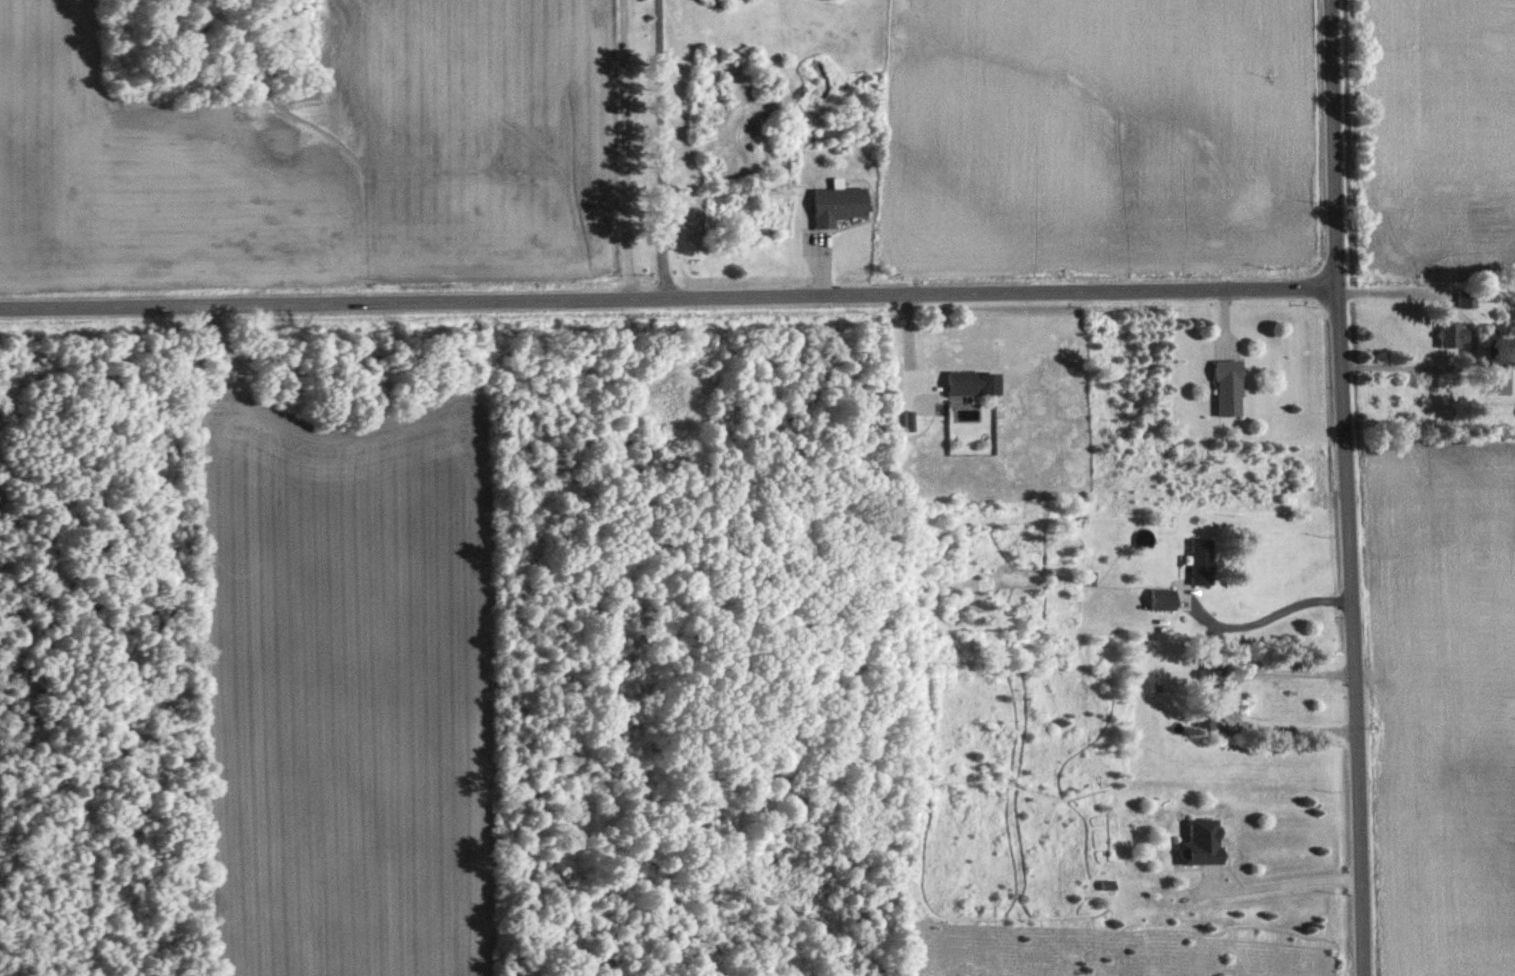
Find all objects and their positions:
road: (606, 149)
road: (661, 149)
building: (838, 205)
road: (670, 297)
building: (1468, 299)
building: (1454, 335)
road: (1475, 336)
building: (973, 384)
building: (1229, 389)
road: (1347, 488)
building: (1202, 562)
building: (1163, 600)
road: (1261, 622)
building: (1215, 669)
road: (1232, 700)
building: (1207, 719)
building: (1203, 843)
road: (1278, 881)

